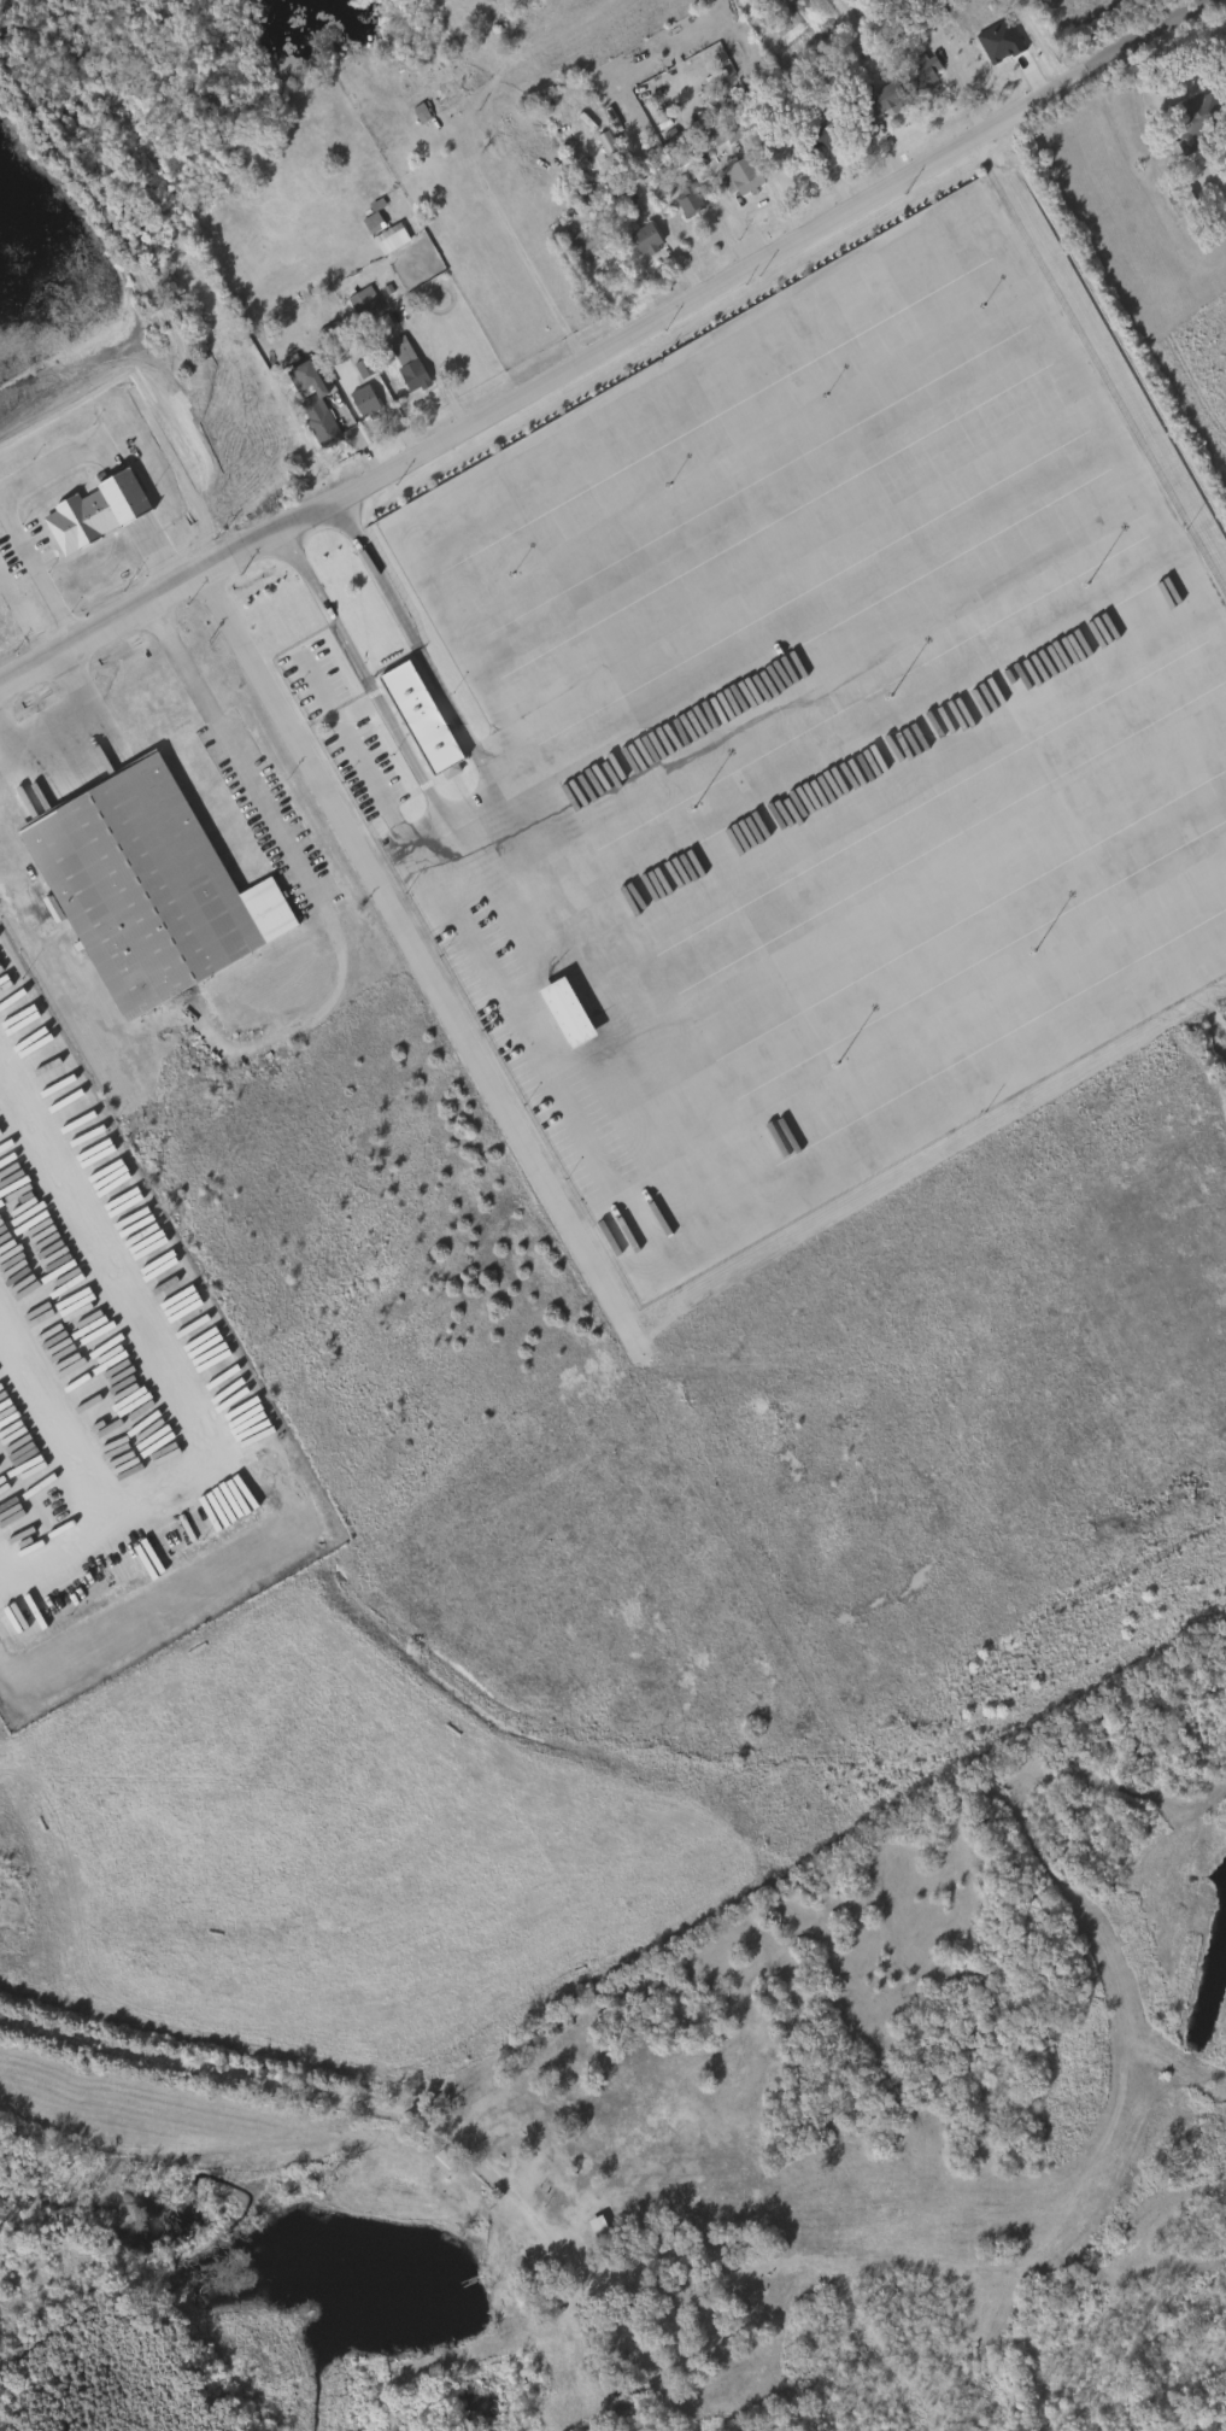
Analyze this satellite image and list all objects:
building: (926, 71)
building: (884, 99)
building: (1196, 116)
building: (729, 134)
building: (610, 143)
building: (684, 158)
building: (744, 177)
building: (690, 194)
building: (682, 201)
building: (1185, 203)
road: (659, 228)
road: (511, 238)
building: (649, 239)
building: (593, 242)
building: (365, 303)
road: (787, 336)
road: (417, 346)
road: (610, 346)
building: (411, 364)
building: (358, 367)
building: (368, 403)
building: (317, 404)
road: (110, 468)
building: (98, 511)
road: (39, 584)
building: (422, 716)
road: (75, 734)
road: (228, 756)
building: (446, 769)
road: (477, 821)
building: (149, 888)
road: (421, 966)
building: (561, 1011)
road: (739, 1217)
road: (163, 1370)
road: (225, 2067)
road: (510, 2201)
building: (600, 2236)

